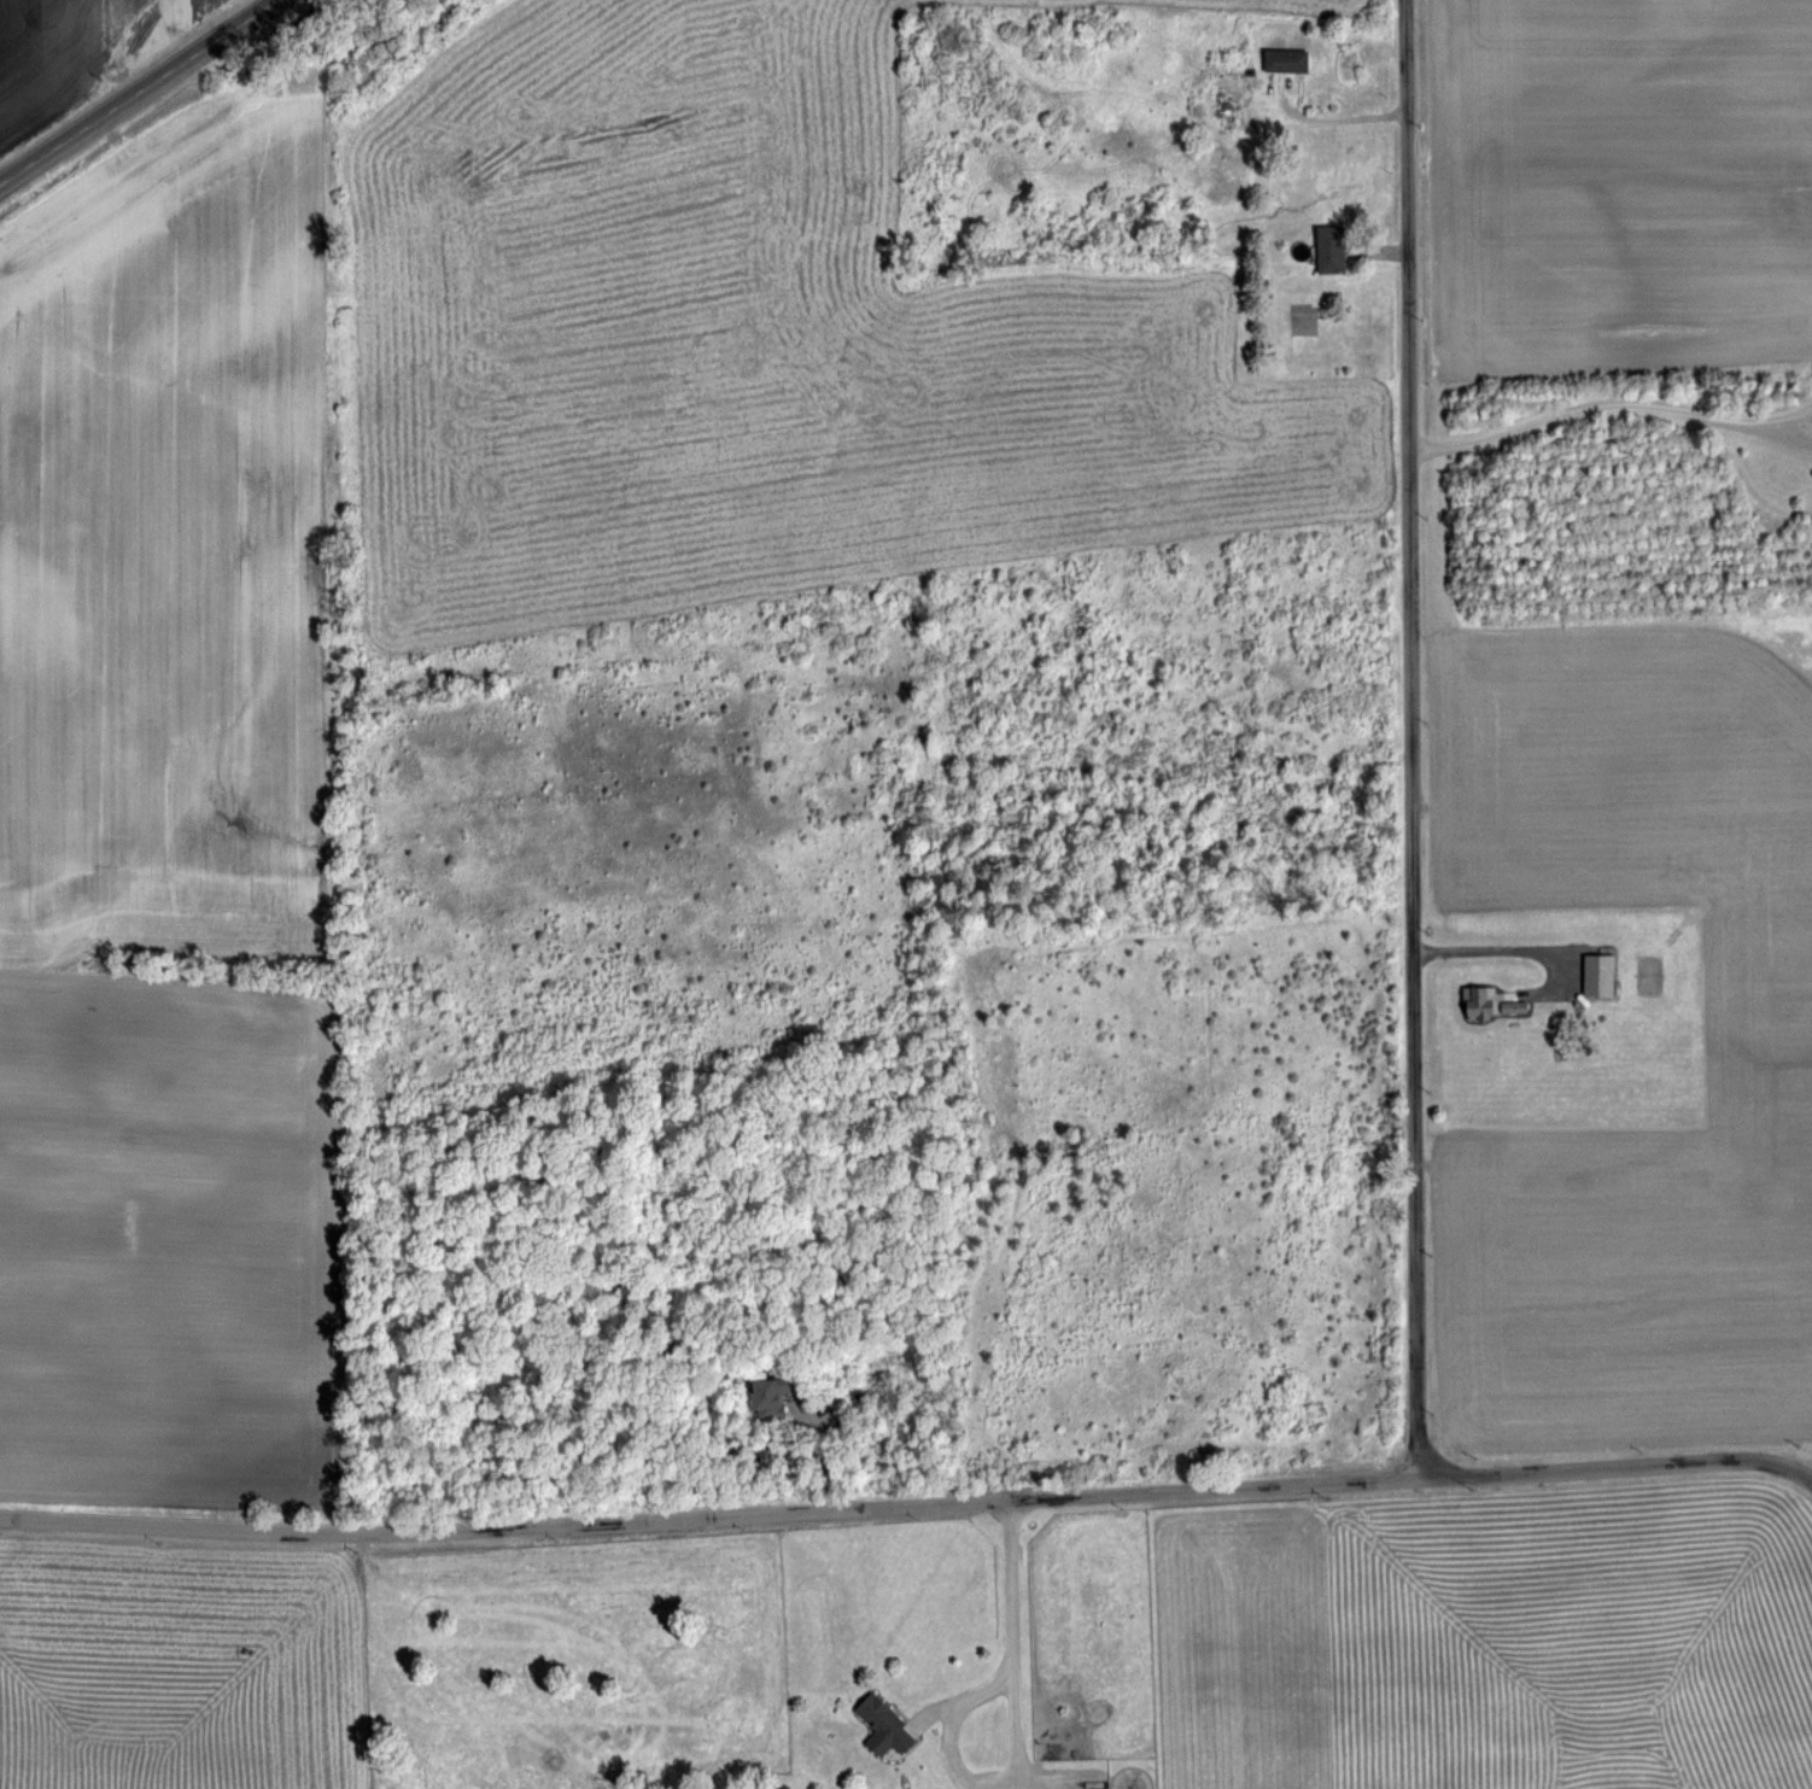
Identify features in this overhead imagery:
building: (1280, 59)
road: (140, 93)
building: (1323, 249)
road: (1584, 405)
road: (1787, 415)
road: (1787, 434)
crop: (697, 703)
crop: (1606, 717)
road: (1411, 737)
building: (1572, 939)
road: (1514, 948)
building: (1649, 954)
building: (1592, 971)
building: (1484, 1000)
building: (776, 1396)
road: (907, 1502)
crop: (899, 1601)
road: (1011, 1637)
road: (928, 1708)
road: (946, 1713)
building: (876, 1721)
road: (1004, 1783)

